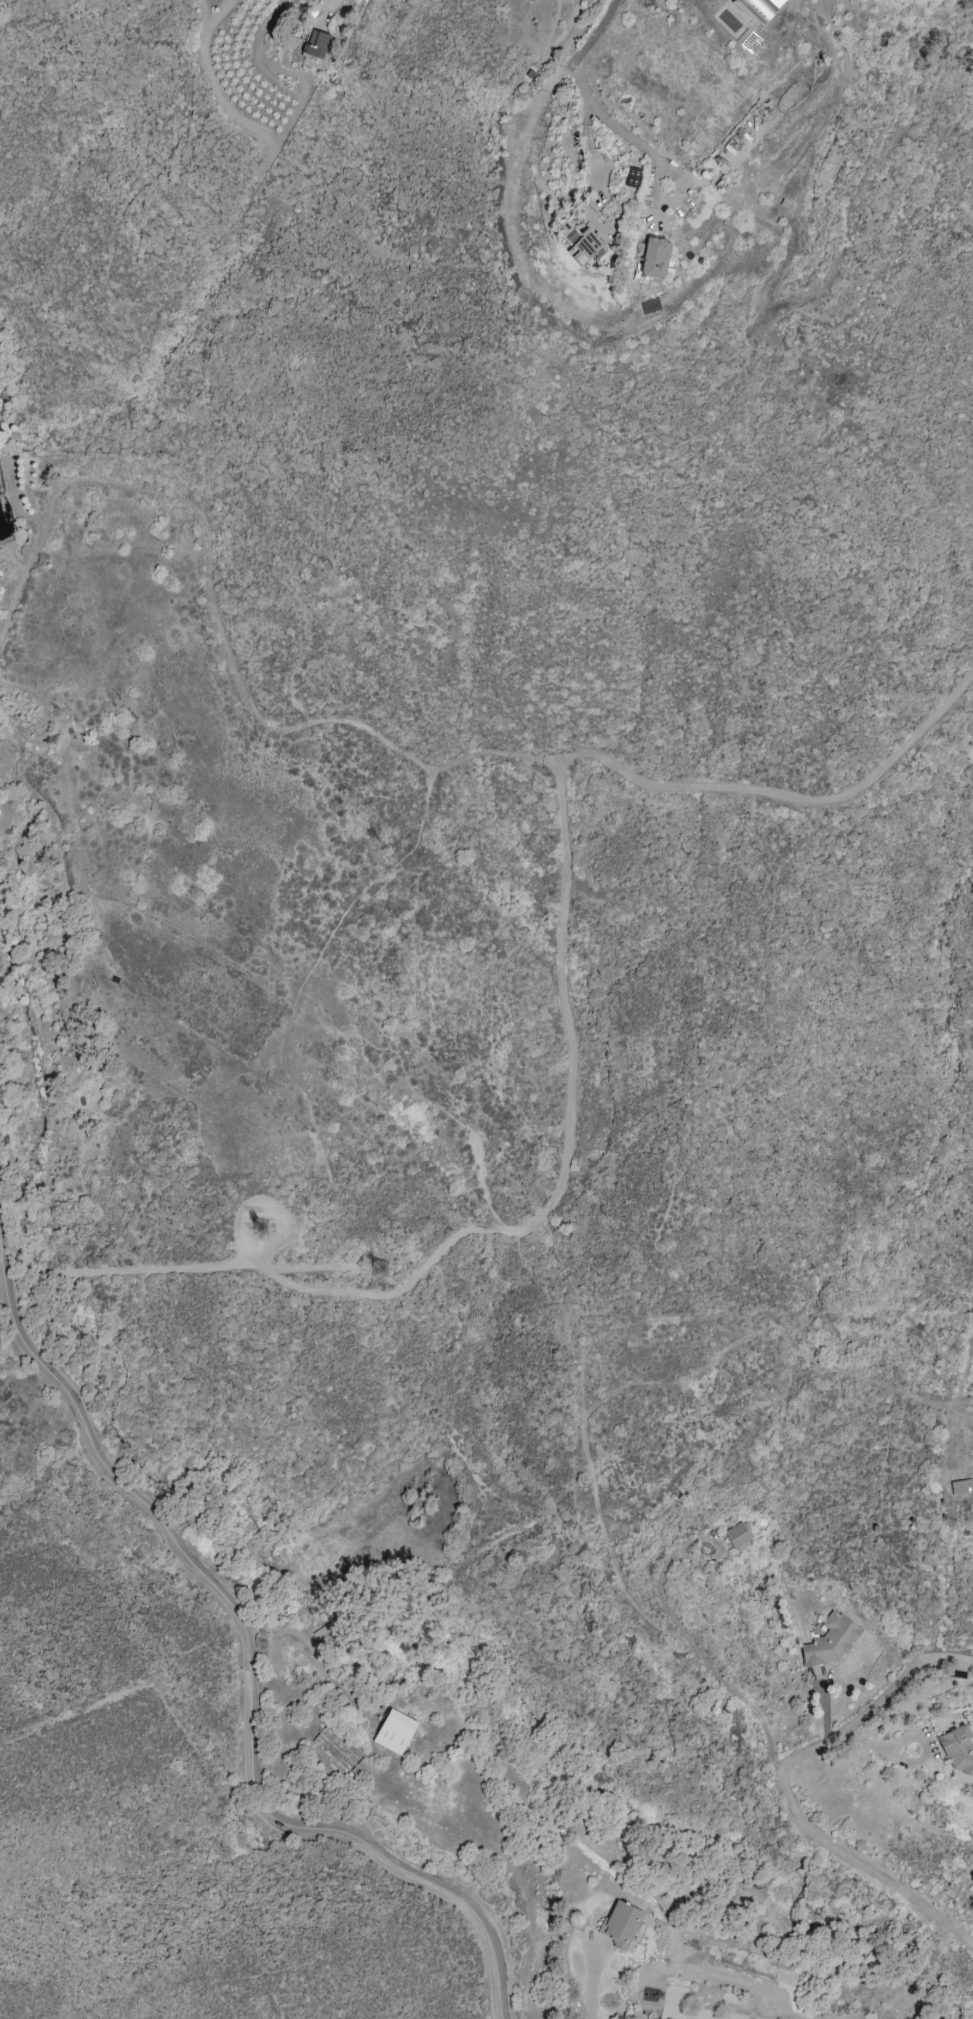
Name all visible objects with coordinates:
road: (337, 2)
building: (777, 2)
building: (758, 9)
road: (594, 33)
building: (316, 44)
road: (589, 142)
road: (651, 152)
building: (632, 177)
building: (585, 233)
building: (654, 258)
road: (218, 620)
road: (290, 1023)
road: (570, 1046)
power tower: (268, 1230)
power tower: (387, 1272)
building: (737, 1536)
building: (830, 1641)
road: (692, 1644)
road: (252, 1652)
building: (394, 1732)
road: (913, 1740)
building: (958, 1750)
building: (972, 1785)
road: (784, 1789)
building: (620, 1925)
road: (972, 1945)
road: (595, 1981)

